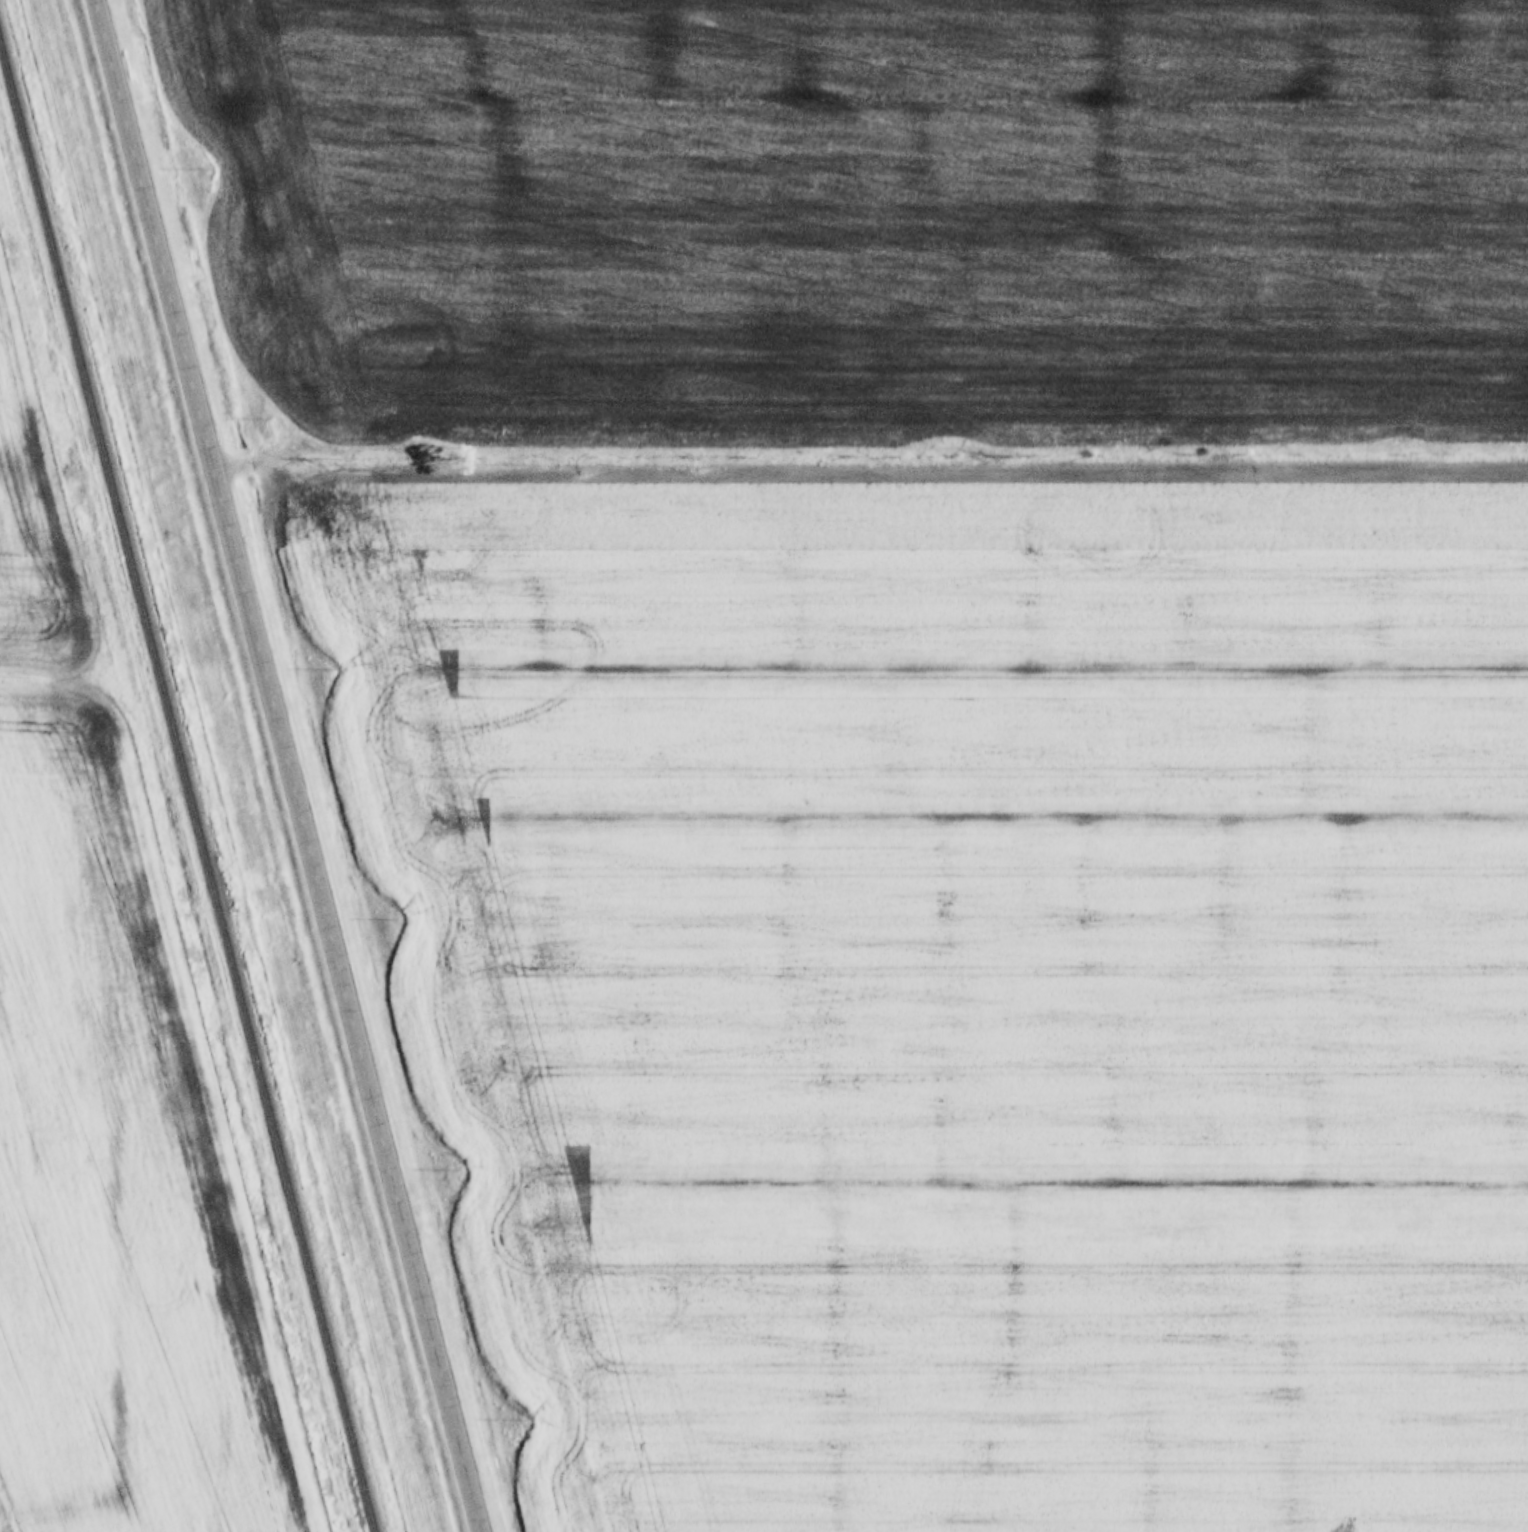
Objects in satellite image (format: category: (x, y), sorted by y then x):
crop: (869, 227)
road: (289, 766)
railway: (188, 789)
crop: (956, 975)
crop: (108, 1096)

